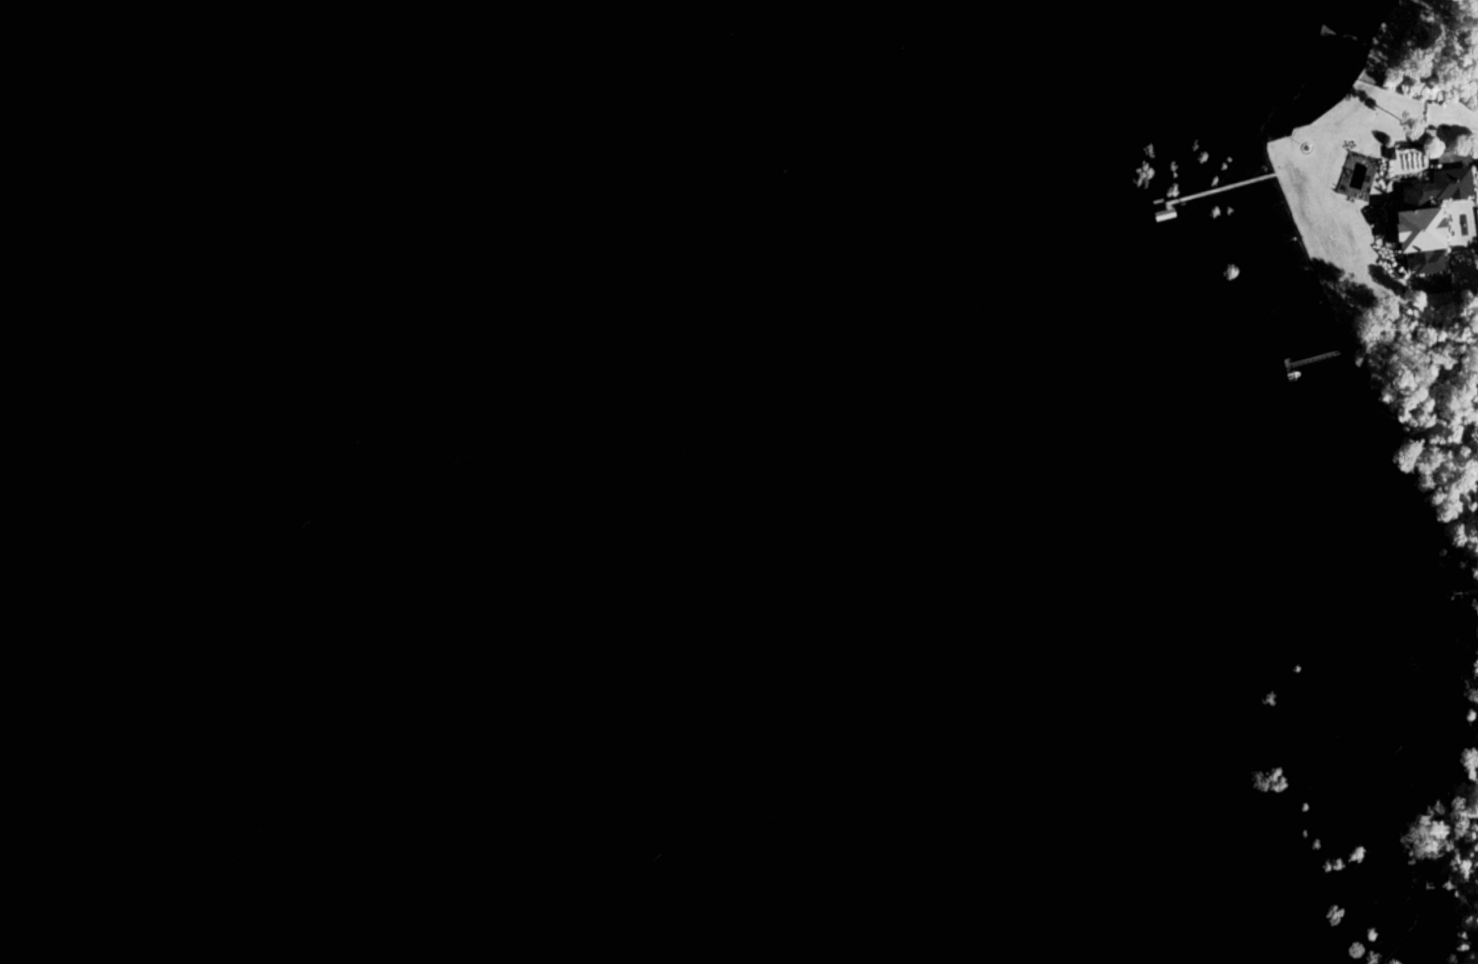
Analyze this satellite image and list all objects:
building: (1433, 220)

